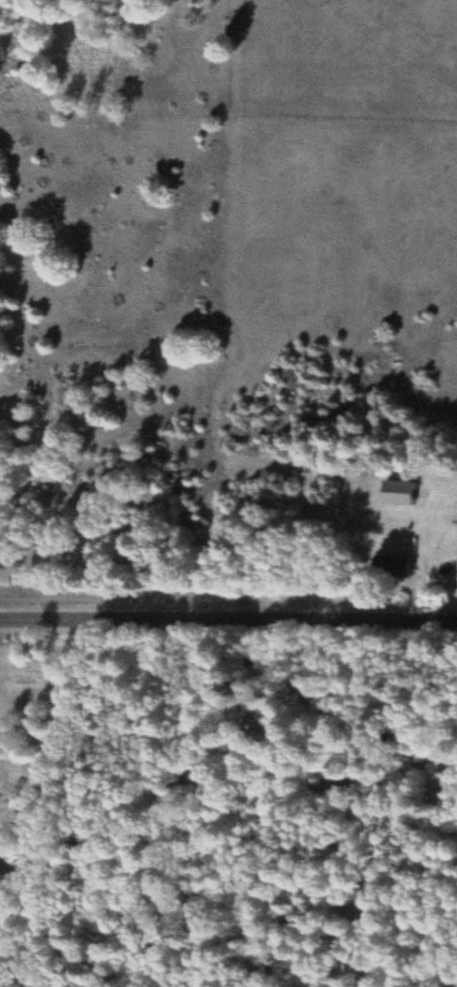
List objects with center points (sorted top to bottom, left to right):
building: (404, 493)
building: (396, 566)
road: (228, 625)

